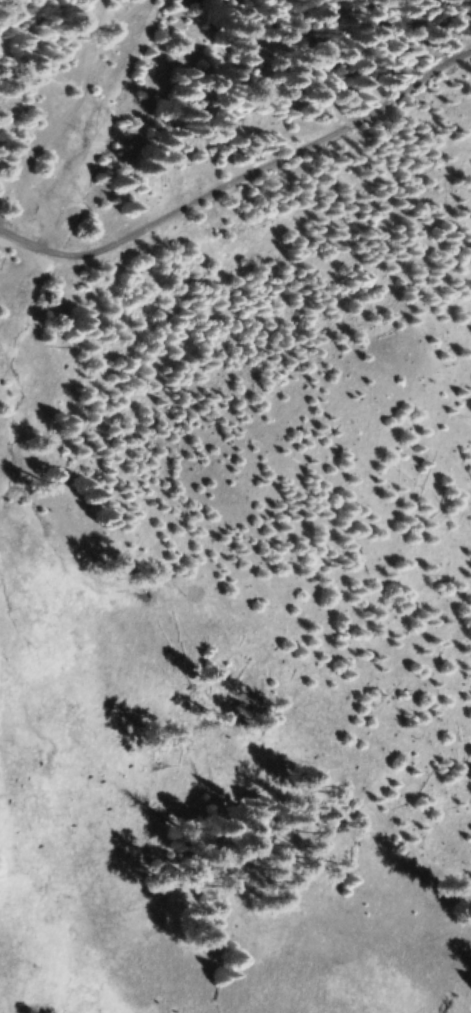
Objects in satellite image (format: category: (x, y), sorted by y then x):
road: (69, 109)
road: (235, 114)

